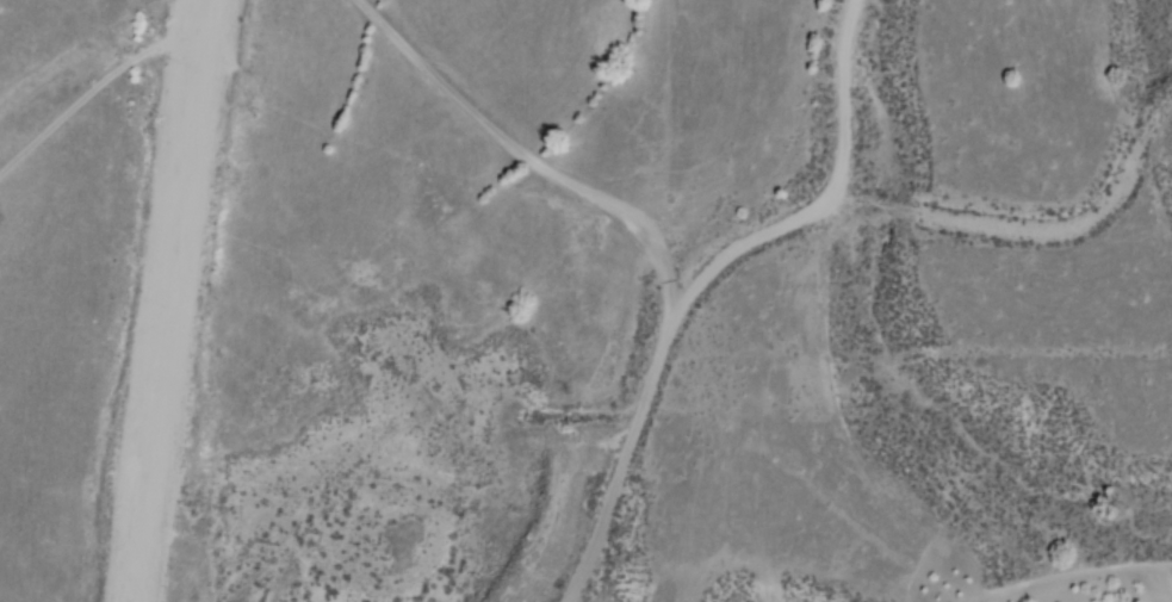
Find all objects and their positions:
road: (712, 279)
airport runway: (154, 300)
road: (811, 484)

